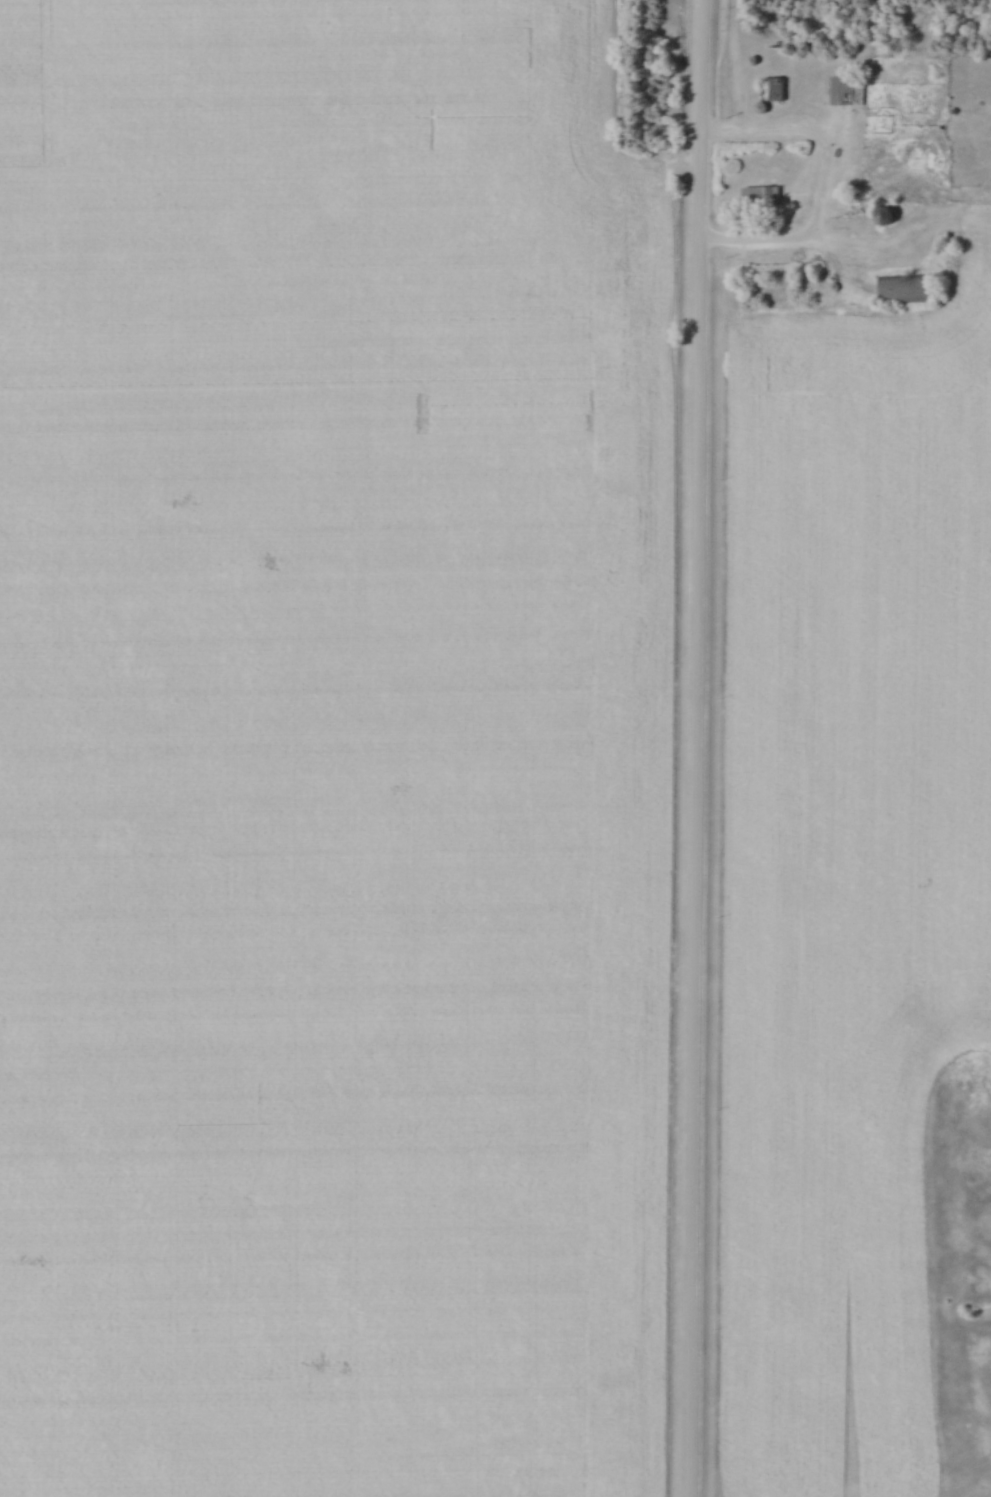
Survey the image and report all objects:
building: (769, 89)
building: (782, 92)
building: (852, 93)
road: (823, 179)
building: (757, 196)
building: (878, 216)
building: (888, 290)
building: (918, 290)
road: (696, 748)
crop: (331, 753)
crop: (855, 874)

